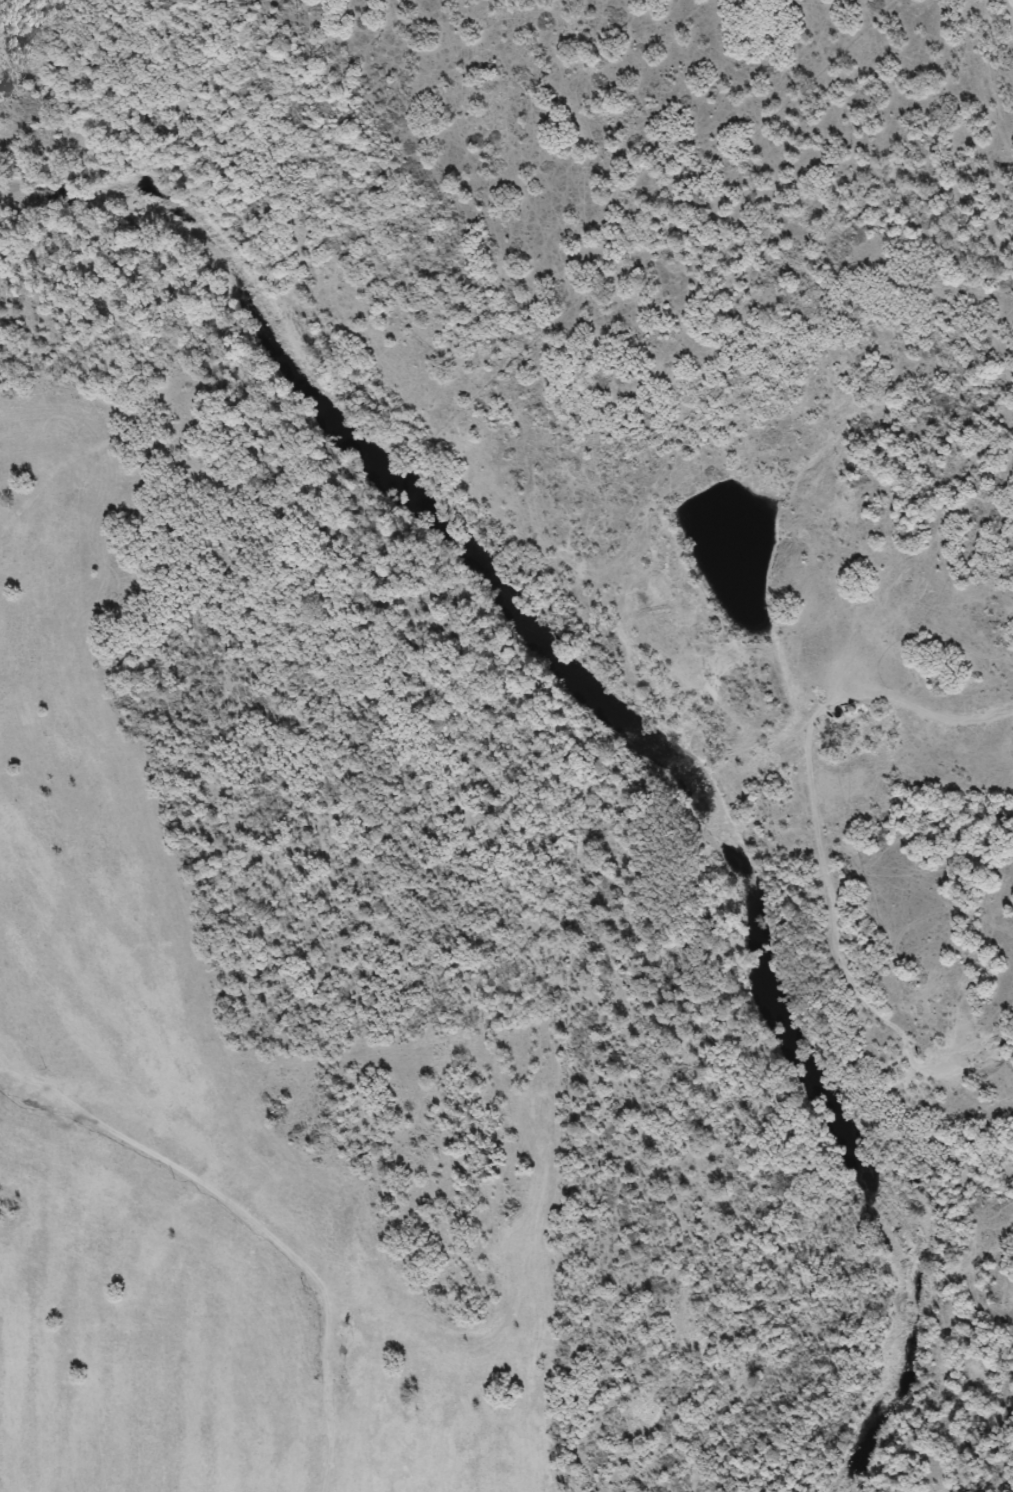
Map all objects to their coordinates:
road: (1000, 14)

